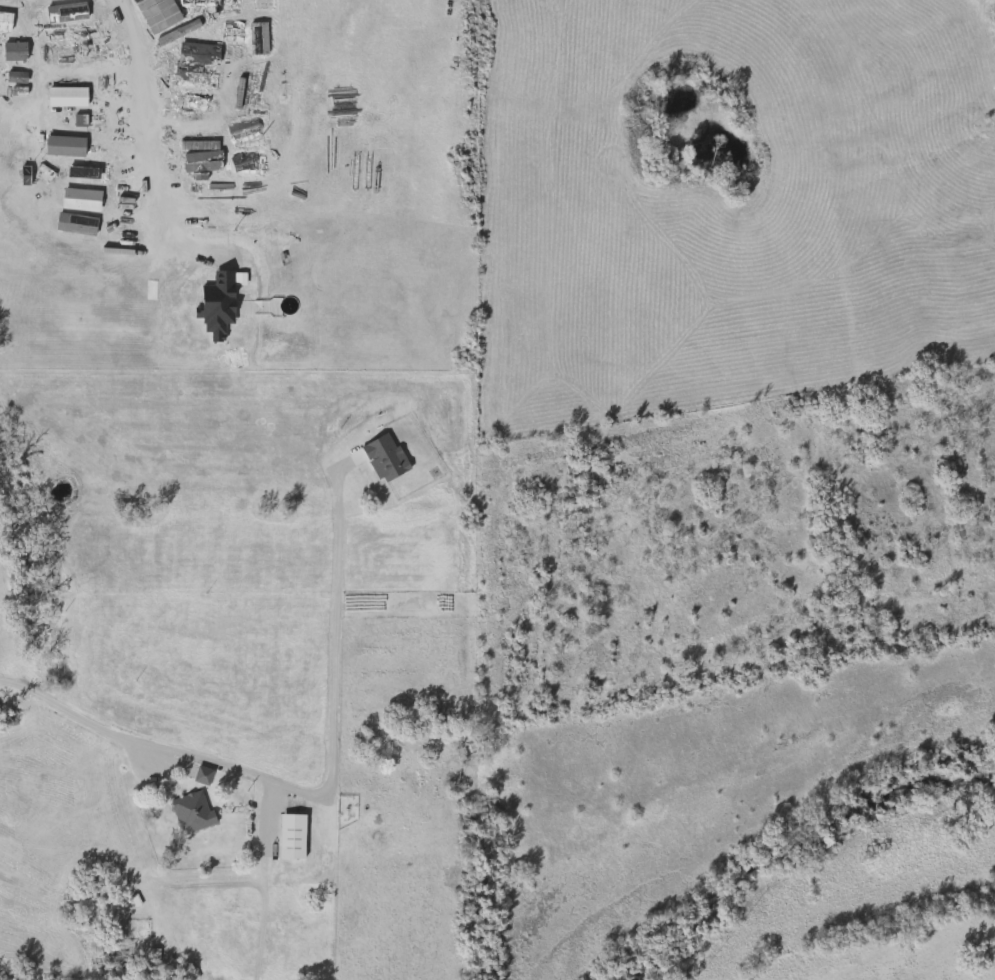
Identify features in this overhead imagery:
building: (10, 4)
building: (196, 52)
road: (131, 61)
building: (194, 78)
building: (202, 103)
road: (165, 212)
building: (199, 775)
road: (310, 794)
building: (190, 812)
building: (289, 836)

